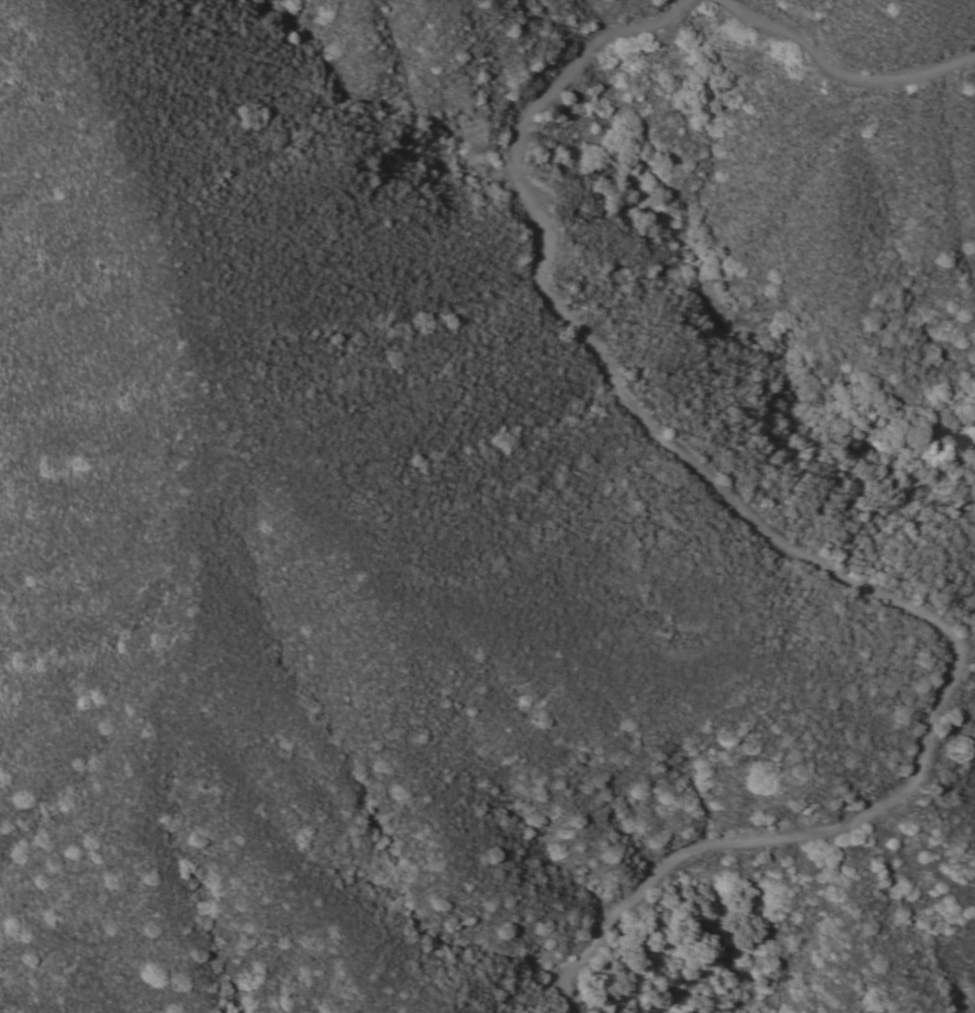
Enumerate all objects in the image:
road: (840, 68)
road: (650, 406)
road: (701, 849)

